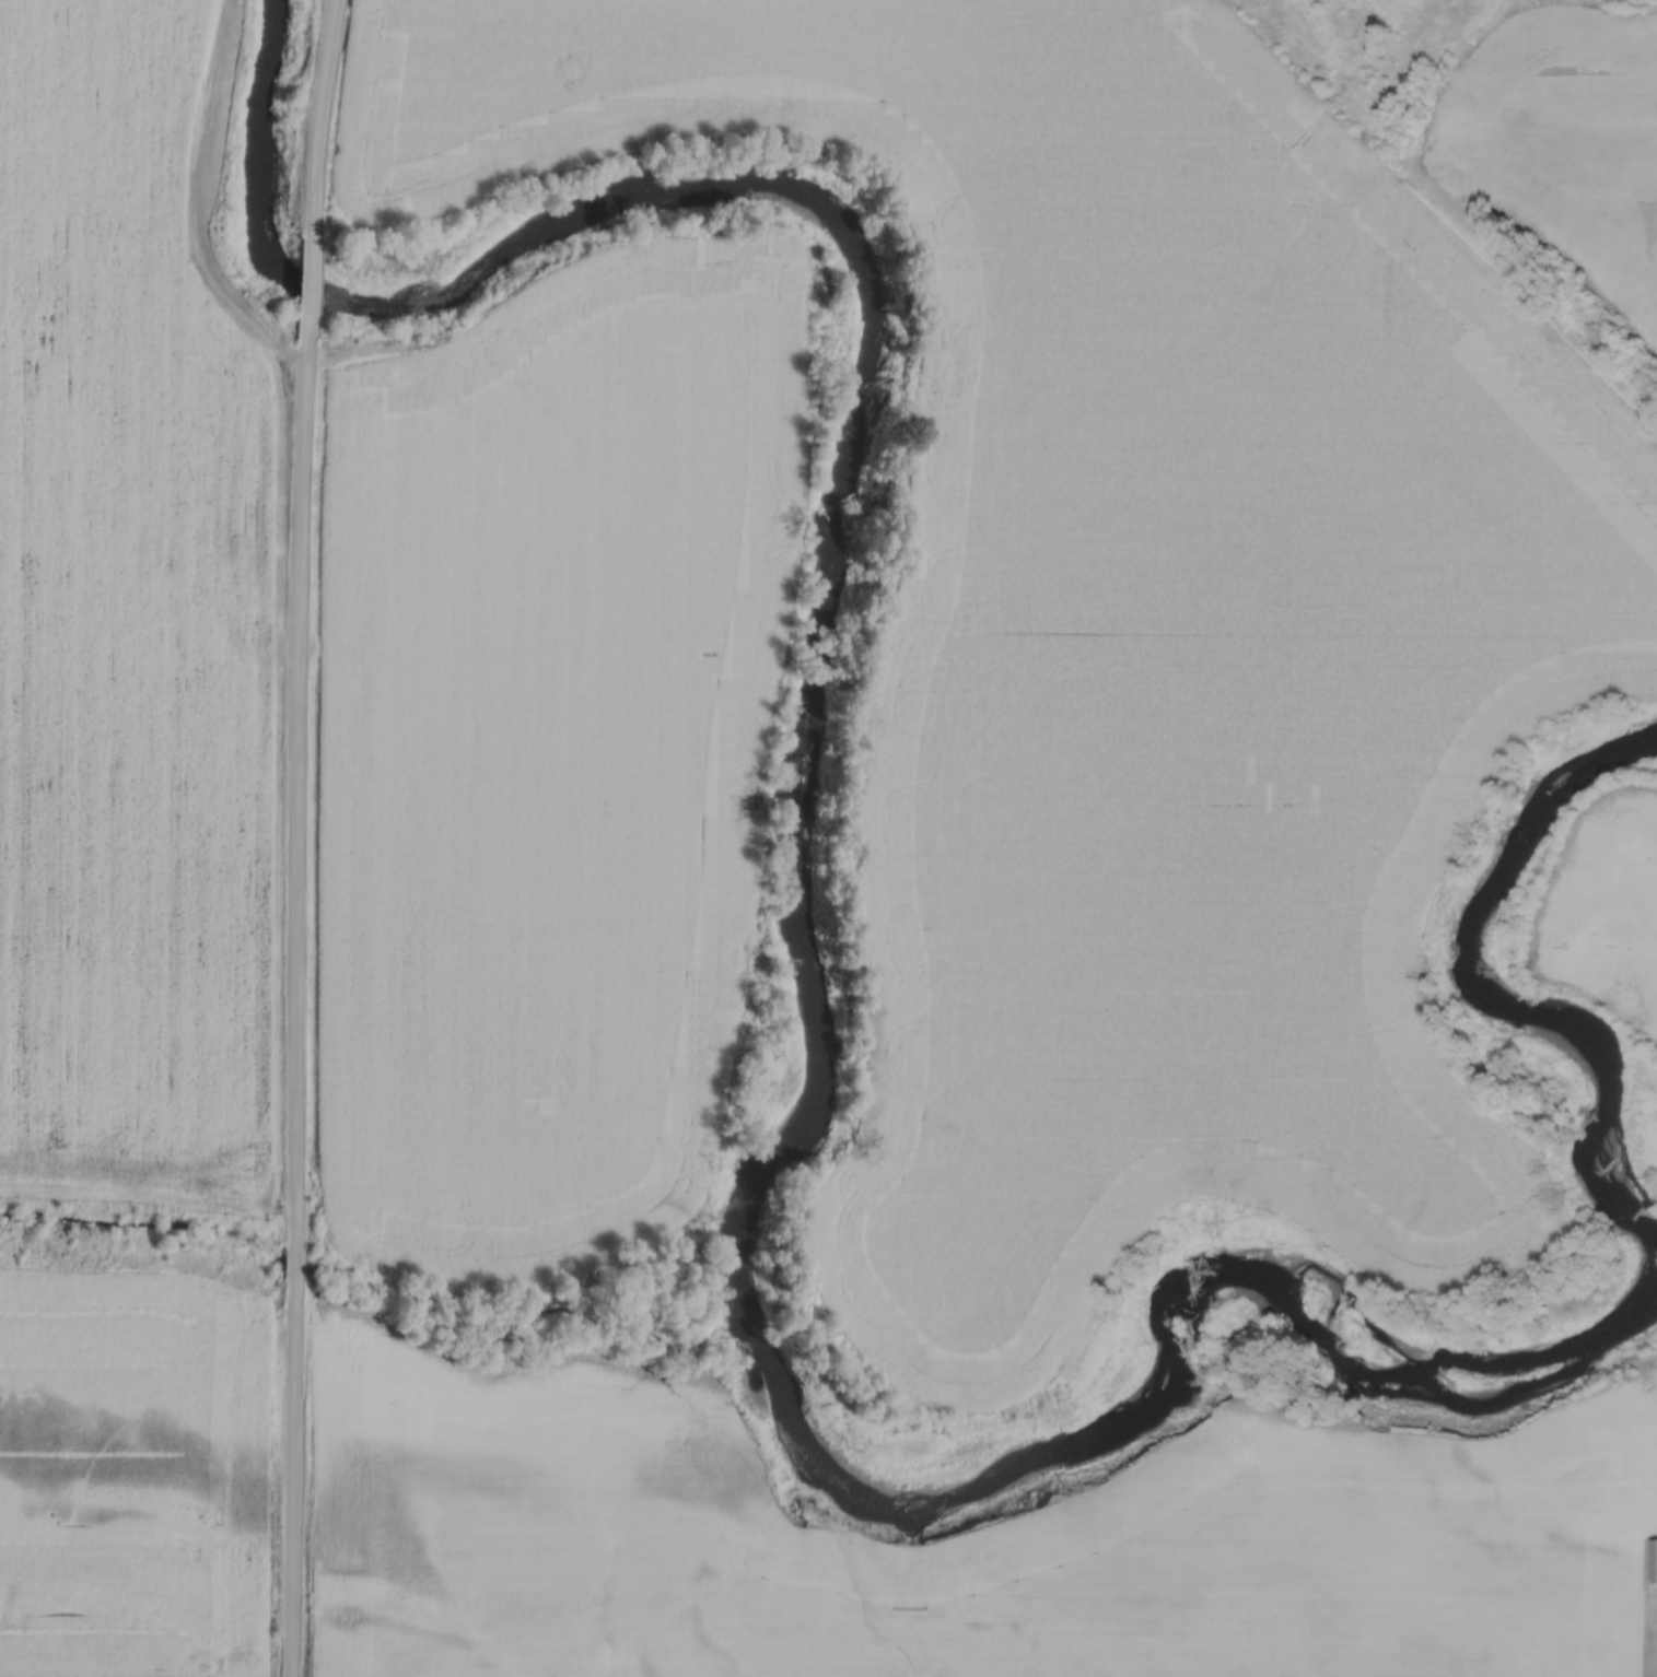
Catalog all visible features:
road: (318, 118)
road: (308, 290)
road: (297, 1010)
river: (748, 1242)
building: (1653, 1561)

